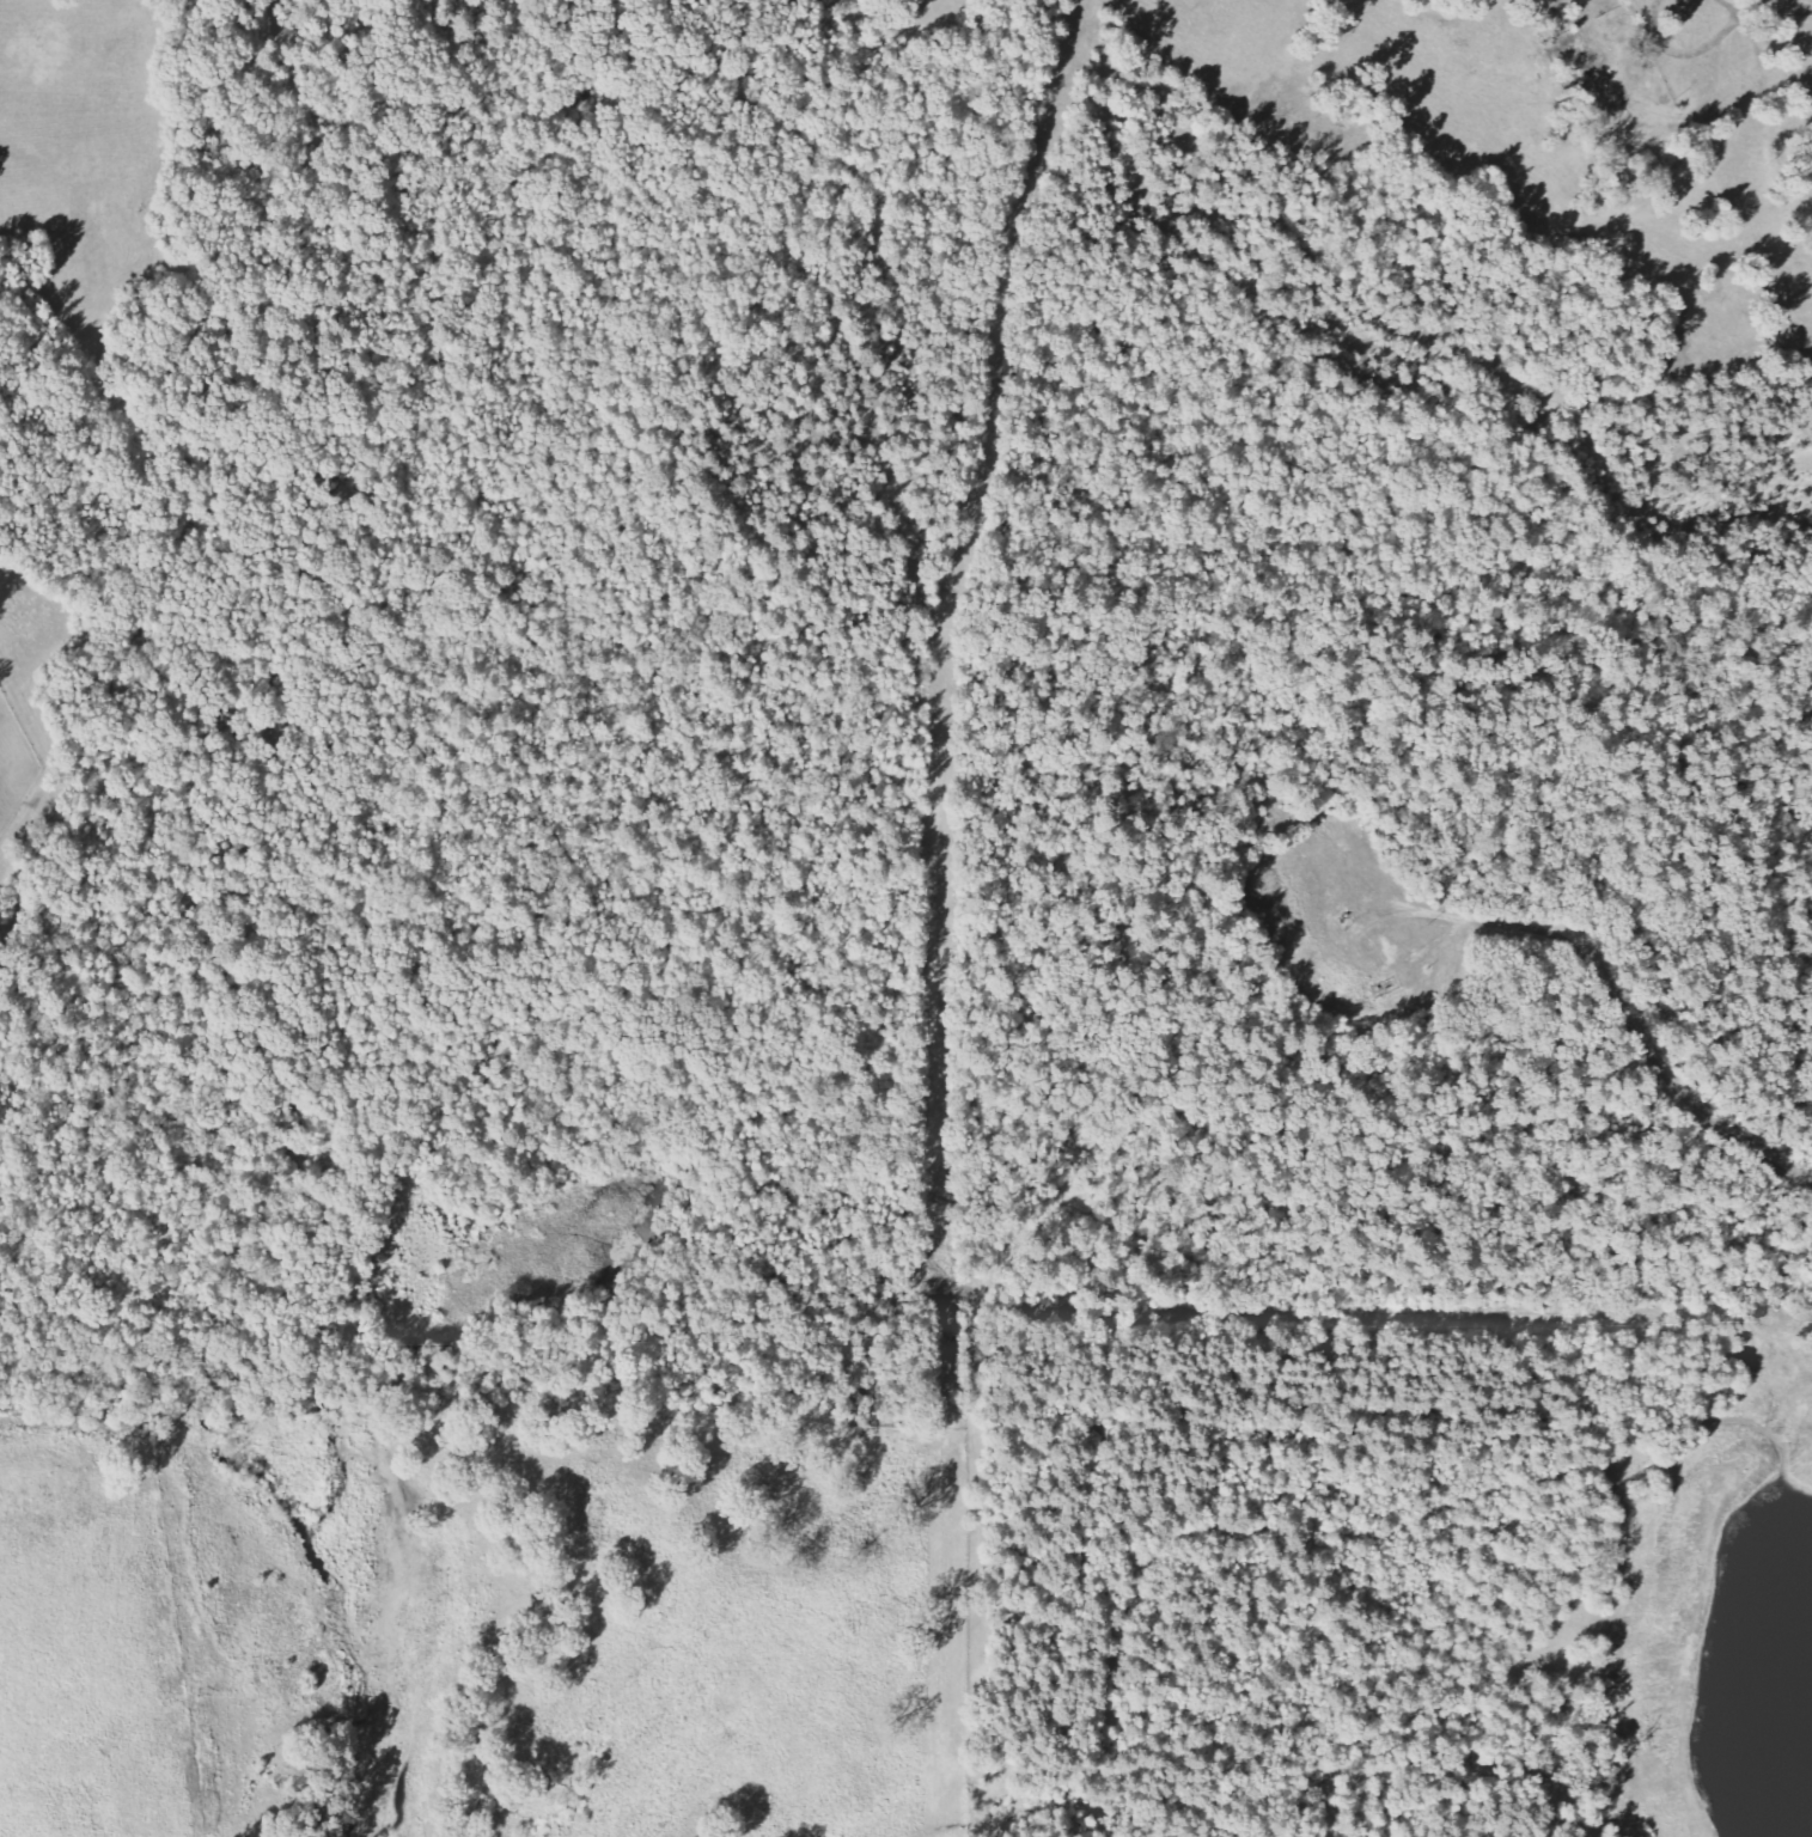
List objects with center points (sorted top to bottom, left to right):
road: (1769, 12)

